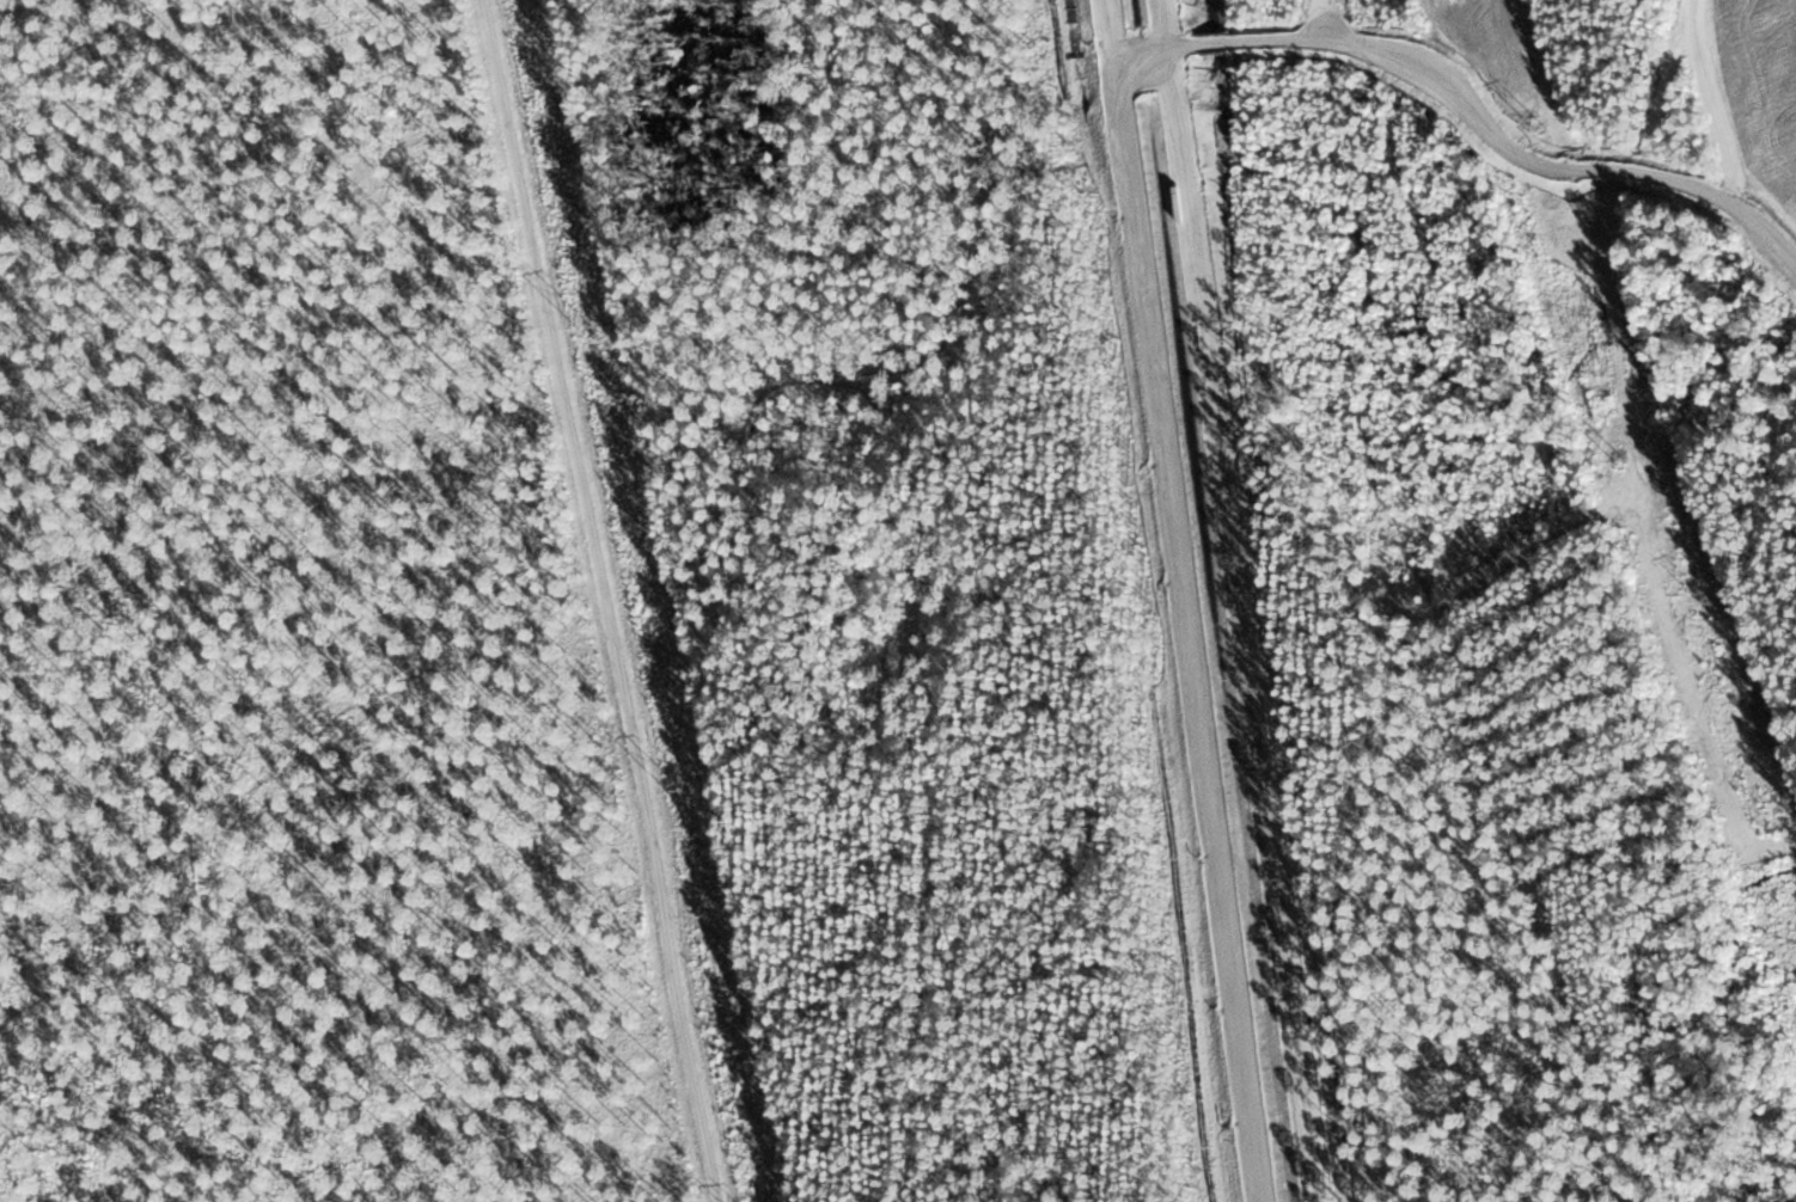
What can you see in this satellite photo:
power tower: (1544, 131)
power tower: (587, 326)
power tower: (1619, 461)
power tower: (1711, 607)
power tower: (678, 792)
power tower: (1774, 902)

